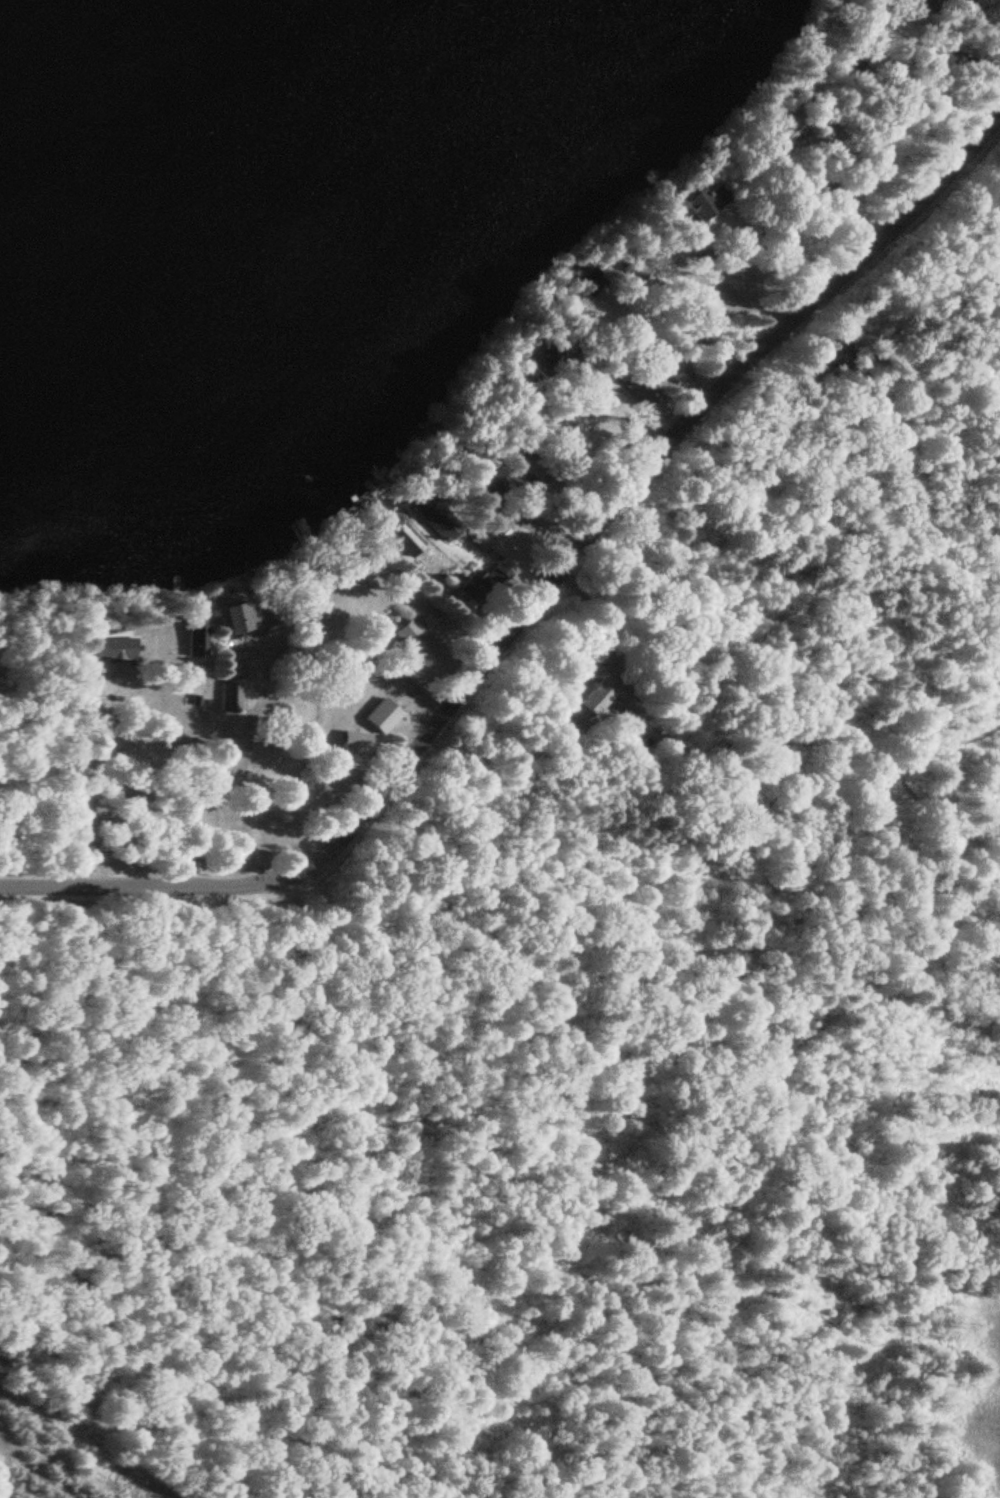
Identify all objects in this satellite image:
building: (955, 1)
road: (934, 72)
building: (787, 131)
building: (708, 202)
building: (633, 271)
building: (712, 317)
building: (693, 334)
building: (679, 373)
building: (632, 382)
building: (496, 487)
building: (441, 522)
building: (399, 533)
building: (472, 590)
road: (538, 602)
building: (248, 622)
building: (413, 640)
building: (195, 642)
building: (114, 649)
building: (600, 695)
building: (229, 698)
building: (384, 716)
building: (356, 743)
road: (203, 777)
road: (38, 1480)

